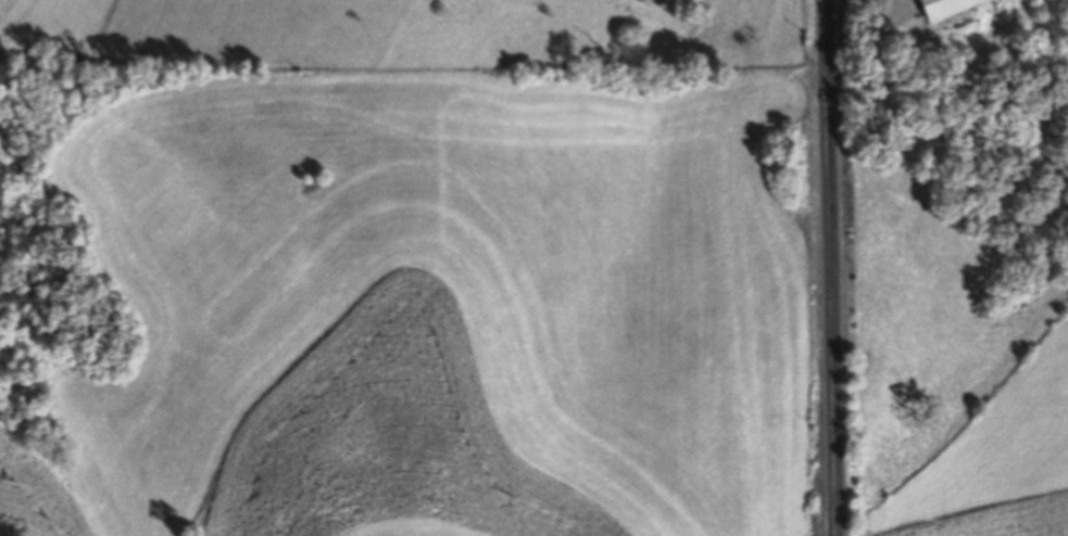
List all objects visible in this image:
building: (948, 7)
road: (831, 268)

